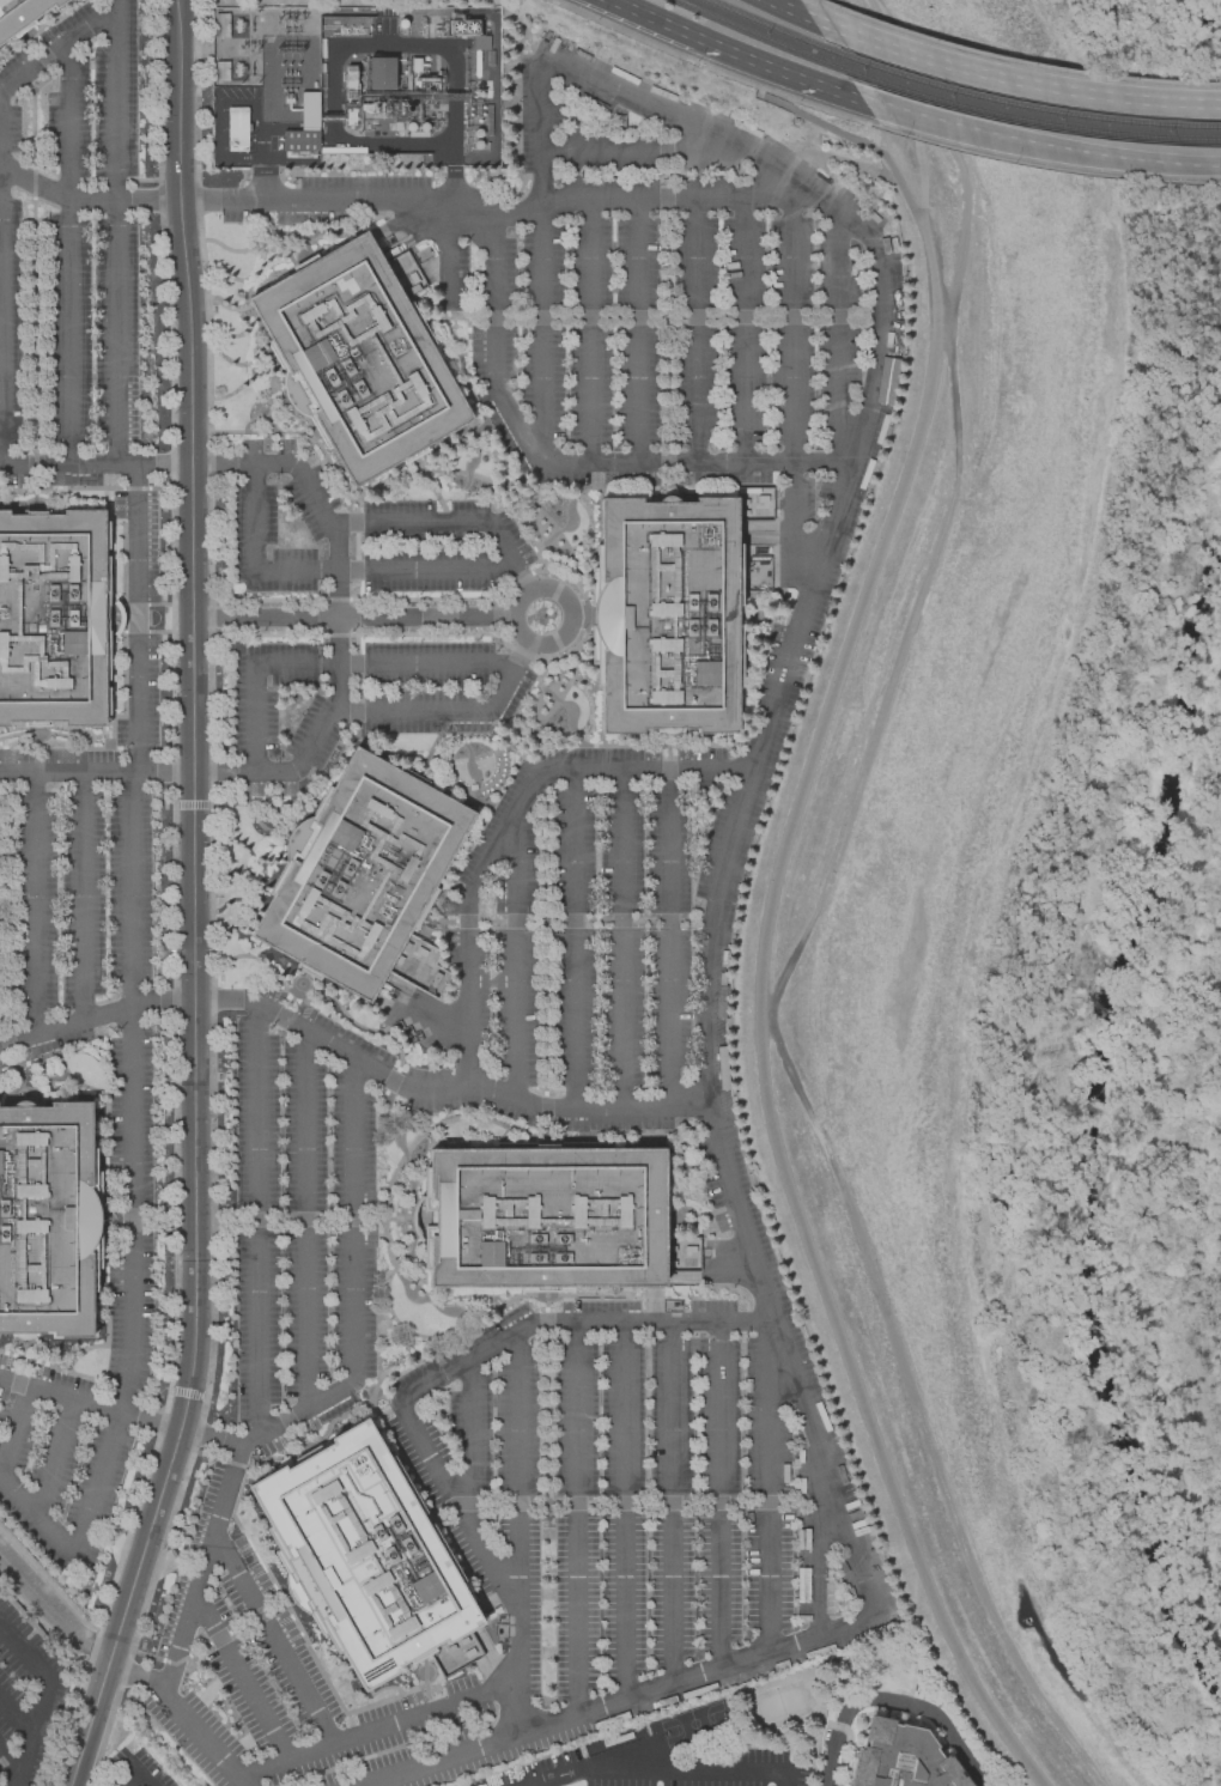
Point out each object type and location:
road: (778, 5)
building: (22, 14)
road: (655, 19)
railway: (760, 22)
building: (223, 25)
river: (1203, 26)
road: (45, 28)
railway: (752, 32)
building: (480, 41)
road: (57, 51)
road: (1016, 60)
building: (417, 65)
road: (776, 69)
building: (223, 71)
building: (382, 73)
road: (1001, 77)
road: (904, 99)
road: (115, 101)
road: (539, 101)
railway: (1013, 103)
building: (310, 109)
railway: (1020, 117)
road: (66, 123)
building: (238, 128)
road: (840, 133)
building: (302, 140)
road: (1034, 144)
road: (646, 152)
road: (680, 200)
road: (84, 201)
road: (315, 201)
road: (498, 217)
road: (35, 268)
road: (697, 330)
road: (743, 330)
road: (590, 332)
road: (637, 332)
road: (68, 333)
road: (115, 334)
road: (839, 357)
building: (358, 359)
building: (886, 379)
road: (791, 388)
road: (542, 451)
road: (95, 466)
road: (283, 466)
road: (123, 491)
road: (537, 511)
road: (253, 518)
road: (294, 571)
road: (424, 571)
road: (336, 593)
road: (372, 601)
parking lot: (370, 614)
building: (668, 615)
road: (571, 616)
building: (54, 618)
road: (352, 618)
road: (136, 620)
road: (122, 630)
road: (372, 636)
road: (333, 666)
road: (450, 713)
road: (763, 739)
road: (616, 747)
road: (96, 776)
road: (475, 836)
building: (362, 873)
parking lot: (75, 874)
road: (83, 899)
road: (193, 900)
road: (34, 906)
road: (813, 911)
road: (567, 921)
road: (710, 935)
road: (622, 938)
road: (670, 938)
road: (4, 940)
road: (575, 940)
road: (516, 956)
parking lot: (571, 990)
road: (763, 1017)
road: (95, 1019)
road: (367, 1033)
road: (442, 1092)
road: (130, 1095)
river: (1093, 1129)
road: (107, 1184)
building: (545, 1217)
building: (47, 1219)
road: (352, 1220)
road: (314, 1221)
road: (305, 1222)
road: (257, 1223)
road: (655, 1324)
road: (788, 1362)
road: (62, 1372)
road: (375, 1395)
road: (89, 1405)
road: (297, 1415)
road: (12, 1432)
road: (209, 1438)
road: (417, 1438)
road: (298, 1439)
road: (470, 1445)
road: (55, 1459)
road: (97, 1486)
road: (769, 1488)
road: (719, 1496)
road: (670, 1503)
road: (619, 1506)
road: (624, 1512)
road: (37, 1517)
road: (576, 1520)
road: (517, 1533)
building: (803, 1538)
road: (818, 1542)
building: (366, 1554)
building: (844, 1563)
road: (202, 1571)
building: (803, 1585)
road: (40, 1596)
building: (832, 1598)
building: (803, 1617)
building: (864, 1632)
road: (273, 1640)
road: (214, 1641)
road: (96, 1644)
road: (29, 1656)
road: (127, 1675)
road: (241, 1678)
road: (894, 1699)
road: (624, 1701)
road: (16, 1718)
road: (376, 1731)
road: (195, 1733)
road: (32, 1738)
road: (614, 1756)
parking lot: (672, 1757)
building: (897, 1757)
road: (11, 1760)
parking lot: (136, 1769)
road: (685, 1770)
building: (540, 1773)
road: (127, 1778)
road: (140, 1779)
road: (788, 1779)

